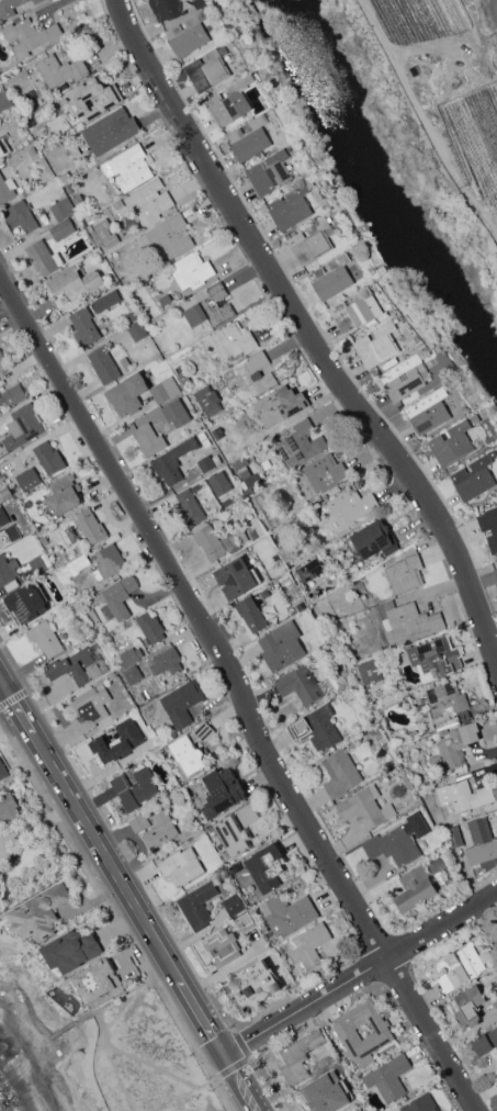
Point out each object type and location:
building: (36, 1)
building: (199, 2)
building: (9, 7)
building: (166, 8)
crop: (418, 21)
building: (188, 33)
building: (31, 35)
building: (207, 68)
building: (59, 70)
building: (92, 97)
building: (4, 100)
building: (229, 101)
building: (30, 120)
road: (425, 122)
building: (110, 130)
building: (249, 137)
crop: (474, 138)
building: (4, 147)
building: (129, 167)
building: (270, 172)
building: (66, 177)
building: (7, 189)
building: (316, 195)
building: (79, 201)
building: (150, 202)
building: (117, 204)
building: (291, 205)
building: (63, 207)
building: (170, 212)
building: (21, 216)
building: (63, 229)
building: (106, 233)
building: (94, 236)
building: (169, 237)
building: (312, 242)
building: (43, 258)
building: (191, 270)
building: (335, 276)
building: (72, 284)
building: (166, 300)
building: (106, 301)
building: (211, 308)
building: (354, 310)
building: (84, 327)
building: (138, 330)
road: (307, 338)
building: (230, 340)
building: (376, 345)
building: (2, 358)
building: (126, 363)
building: (104, 366)
building: (257, 373)
building: (406, 377)
building: (183, 378)
building: (166, 391)
building: (127, 394)
building: (12, 395)
building: (207, 401)
building: (281, 405)
building: (428, 411)
building: (177, 413)
building: (21, 429)
building: (149, 439)
building: (300, 445)
building: (452, 445)
building: (49, 458)
building: (171, 463)
building: (206, 463)
building: (240, 464)
building: (324, 473)
building: (475, 478)
building: (250, 479)
building: (29, 480)
building: (219, 484)
building: (4, 494)
building: (64, 495)
building: (350, 506)
building: (190, 508)
building: (3, 517)
building: (91, 526)
building: (489, 527)
building: (9, 535)
building: (242, 537)
building: (66, 538)
building: (375, 540)
building: (214, 542)
building: (18, 557)
building: (46, 560)
building: (110, 562)
building: (79, 564)
building: (37, 565)
building: (310, 571)
building: (495, 573)
building: (405, 574)
building: (238, 579)
building: (496, 584)
building: (11, 585)
building: (118, 598)
building: (25, 605)
building: (252, 614)
building: (406, 619)
building: (77, 622)
building: (151, 628)
building: (45, 639)
building: (283, 647)
building: (128, 654)
building: (436, 659)
building: (168, 662)
building: (79, 666)
building: (371, 672)
building: (133, 675)
building: (302, 685)
road: (239, 694)
building: (447, 699)
building: (182, 704)
building: (87, 708)
road: (14, 711)
building: (448, 723)
building: (317, 729)
building: (118, 742)
building: (454, 749)
building: (192, 750)
building: (2, 772)
building: (342, 774)
building: (409, 784)
building: (134, 789)
building: (223, 793)
building: (496, 793)
building: (465, 796)
building: (8, 809)
building: (366, 809)
building: (249, 815)
building: (139, 823)
road: (38, 827)
building: (160, 831)
building: (235, 834)
building: (454, 838)
building: (399, 842)
building: (483, 844)
road: (7, 852)
road: (102, 860)
building: (182, 867)
building: (268, 868)
building: (0, 886)
building: (417, 890)
building: (235, 905)
building: (199, 906)
building: (39, 914)
building: (289, 914)
building: (245, 922)
building: (307, 946)
building: (223, 947)
building: (71, 951)
building: (486, 955)
building: (460, 964)
road: (358, 975)
building: (98, 984)
building: (256, 984)
road: (120, 999)
building: (496, 1003)
building: (468, 1005)
road: (101, 1020)
road: (197, 1020)
road: (104, 1030)
building: (362, 1031)
road: (48, 1037)
building: (485, 1042)
building: (298, 1055)
traffic signals: (221, 1058)
road: (242, 1062)
road: (153, 1065)
building: (389, 1078)
road: (236, 1085)
building: (325, 1092)
road: (172, 1098)
building: (420, 1103)
building: (359, 1110)

